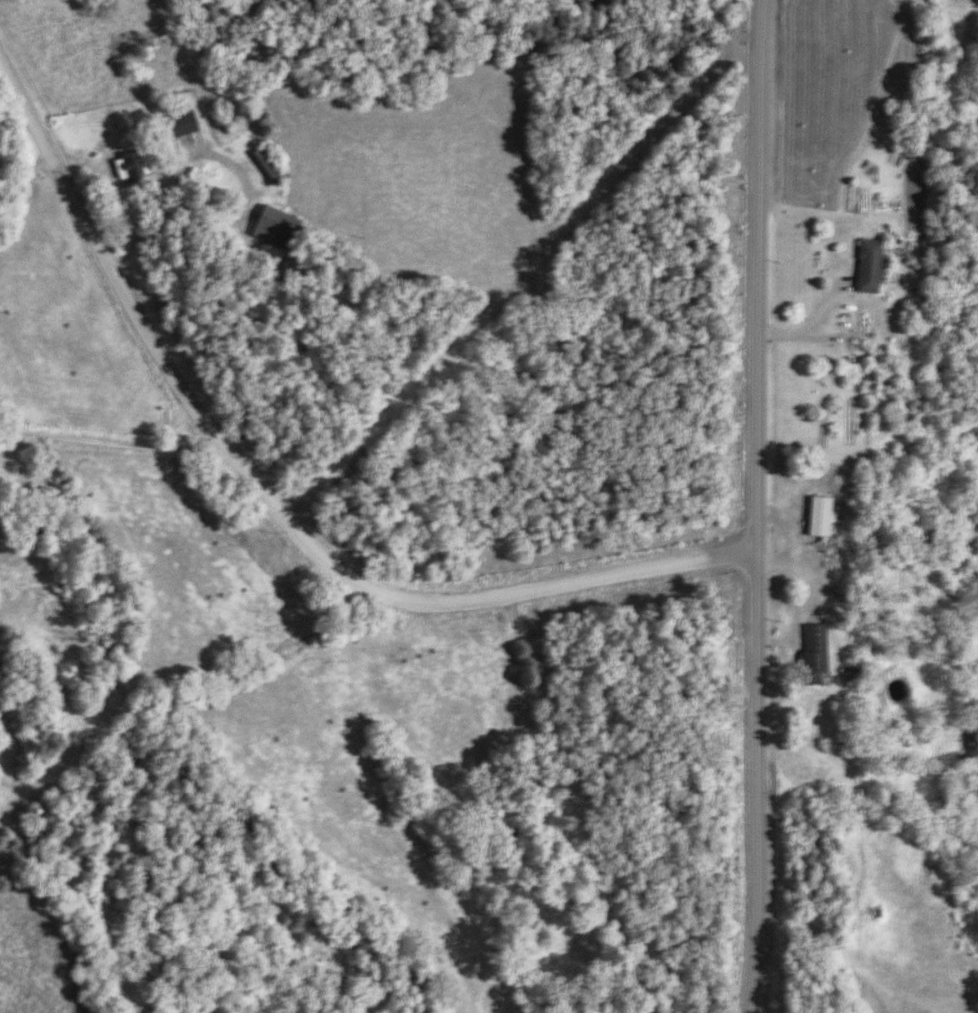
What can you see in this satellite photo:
building: (181, 125)
building: (270, 165)
building: (131, 167)
building: (275, 228)
building: (867, 268)
road: (804, 322)
road: (108, 440)
road: (271, 505)
road: (753, 506)
building: (818, 516)
building: (814, 649)

